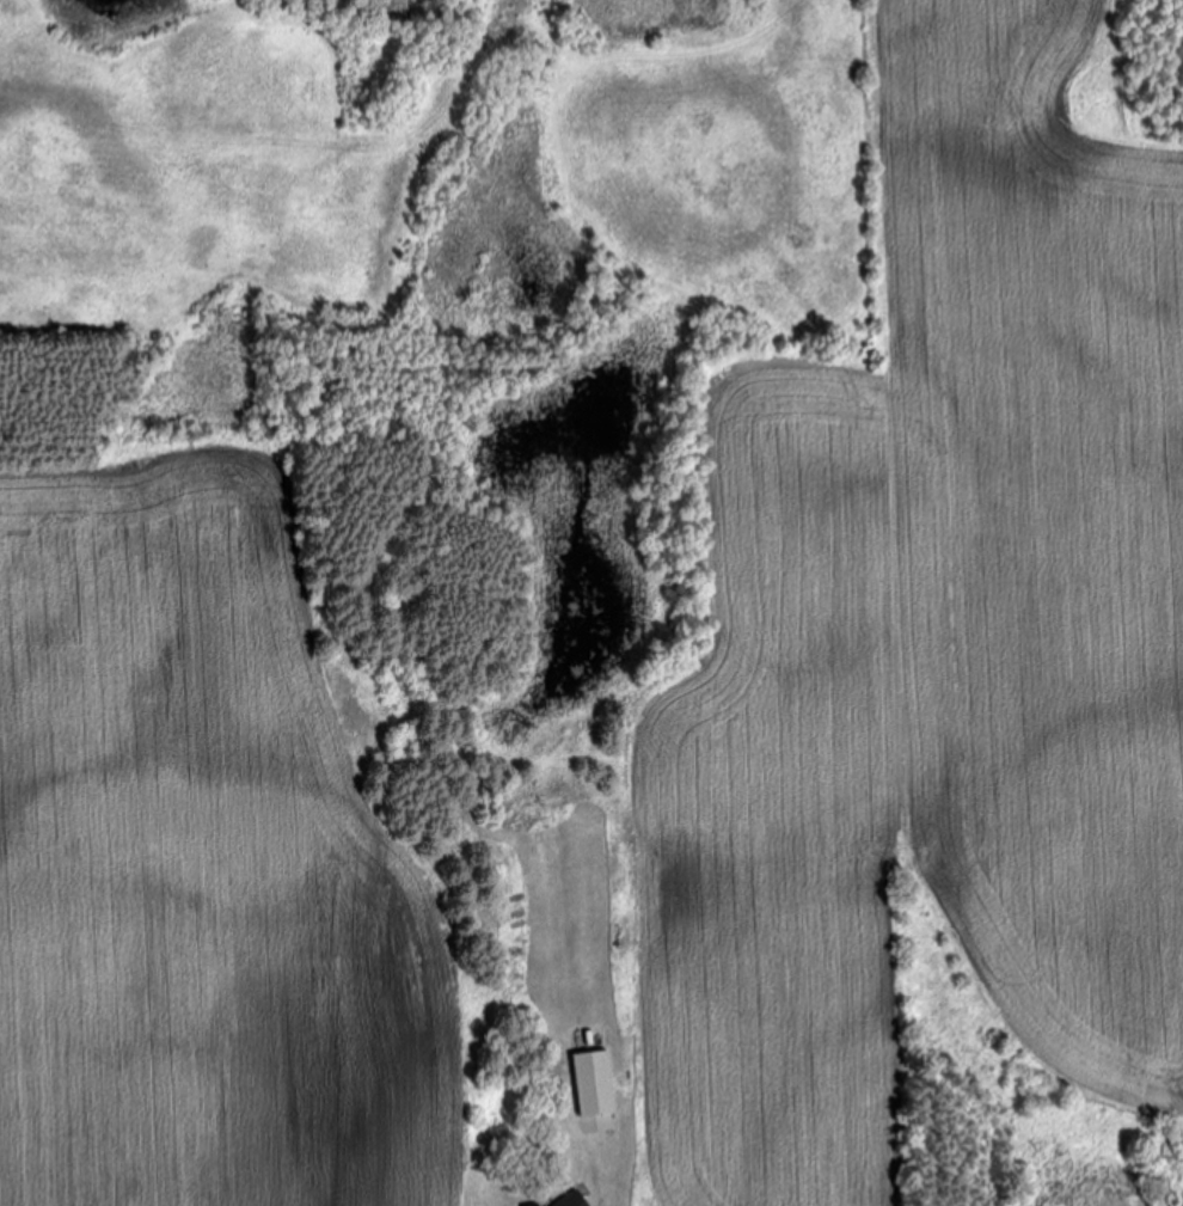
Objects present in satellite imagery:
building: (559, 1204)

